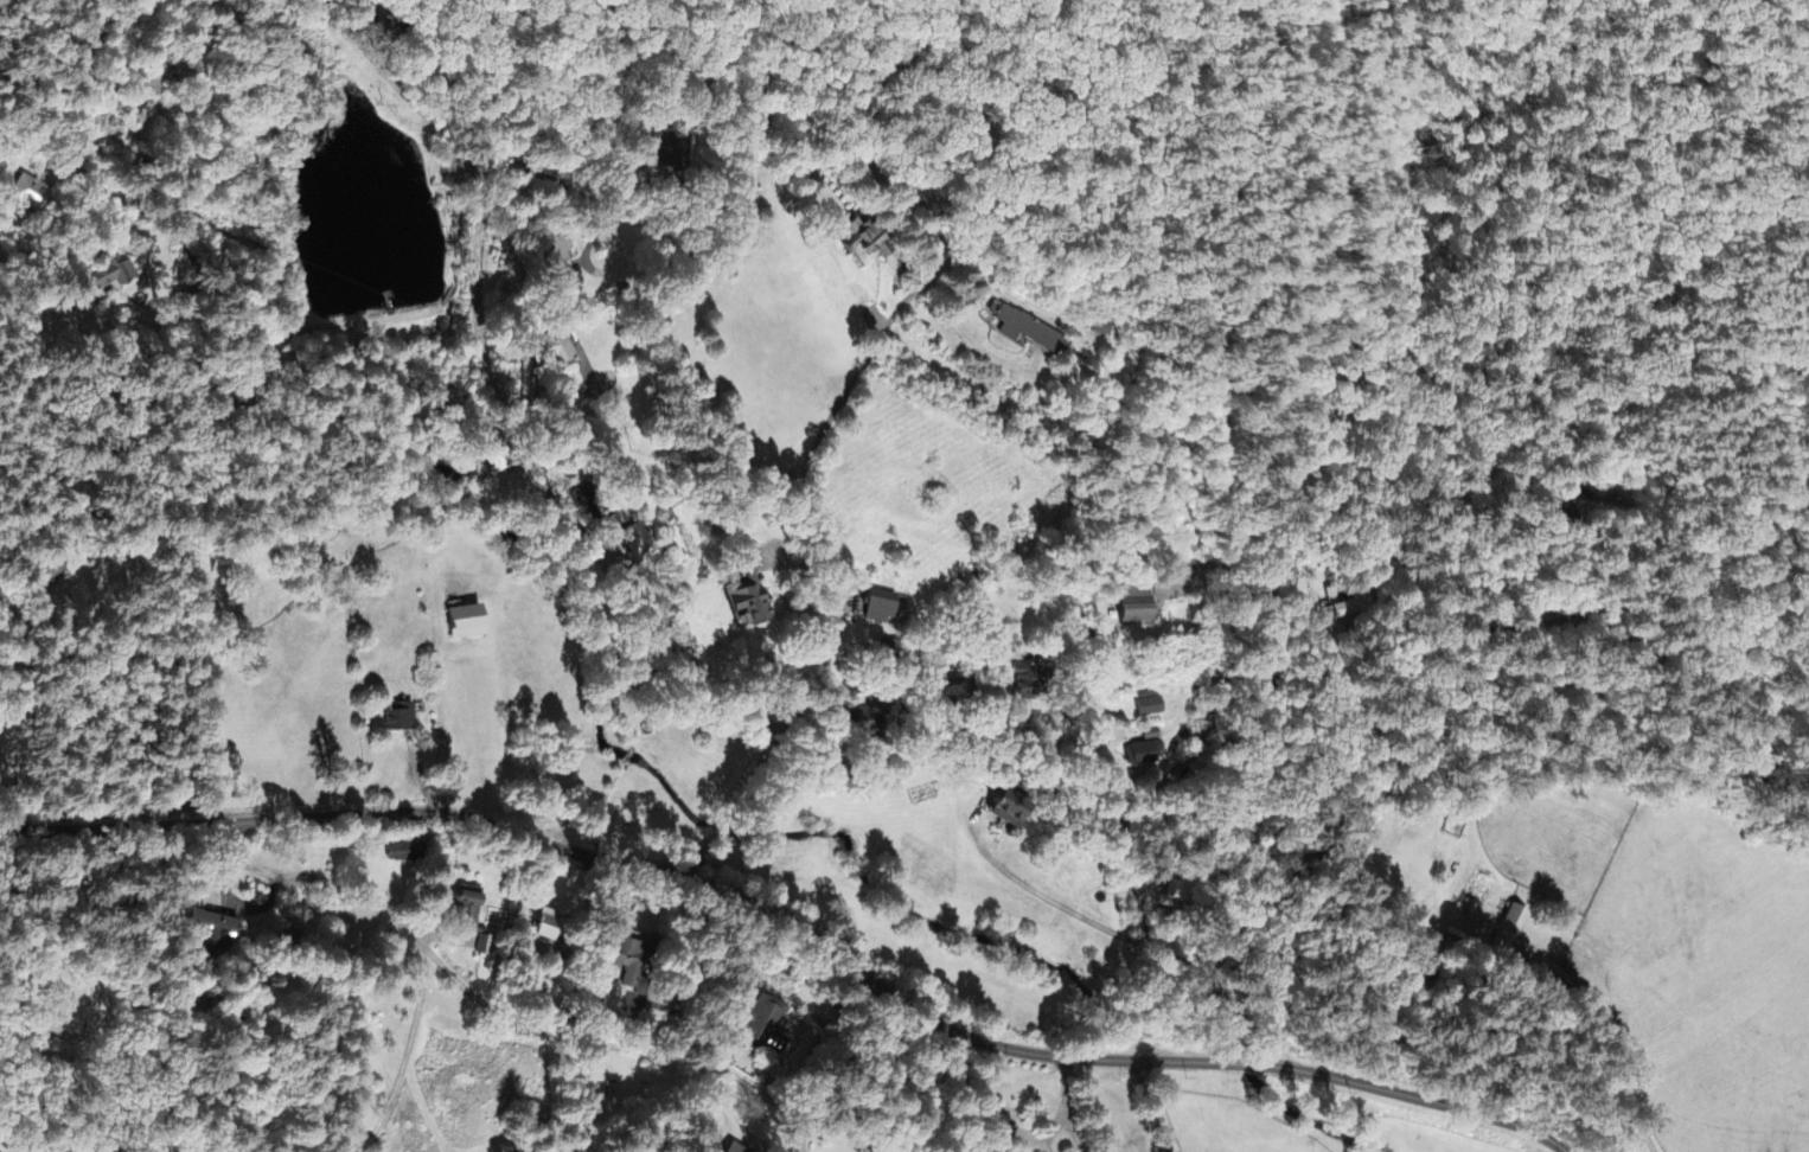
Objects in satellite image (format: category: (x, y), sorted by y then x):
road: (57, 57)
road: (577, 177)
building: (30, 196)
road: (149, 224)
building: (867, 247)
building: (108, 279)
building: (1028, 332)
building: (562, 350)
road: (491, 405)
road: (808, 465)
building: (587, 504)
building: (615, 523)
building: (639, 545)
building: (752, 603)
building: (1134, 607)
building: (883, 609)
building: (1334, 615)
building: (472, 625)
road: (1050, 654)
building: (1027, 683)
building: (1150, 706)
building: (404, 718)
building: (1152, 737)
building: (1145, 755)
road: (999, 774)
road: (723, 795)
building: (1011, 812)
road: (1310, 825)
building: (408, 853)
building: (474, 902)
building: (215, 927)
building: (554, 927)
building: (1513, 932)
road: (795, 933)
building: (490, 949)
building: (637, 966)
road: (485, 999)
road: (1223, 1000)
park: (79, 1007)
building: (769, 1022)
road: (409, 1052)
road: (570, 1088)
road: (1068, 1093)
road: (1157, 1099)
building: (737, 1148)

